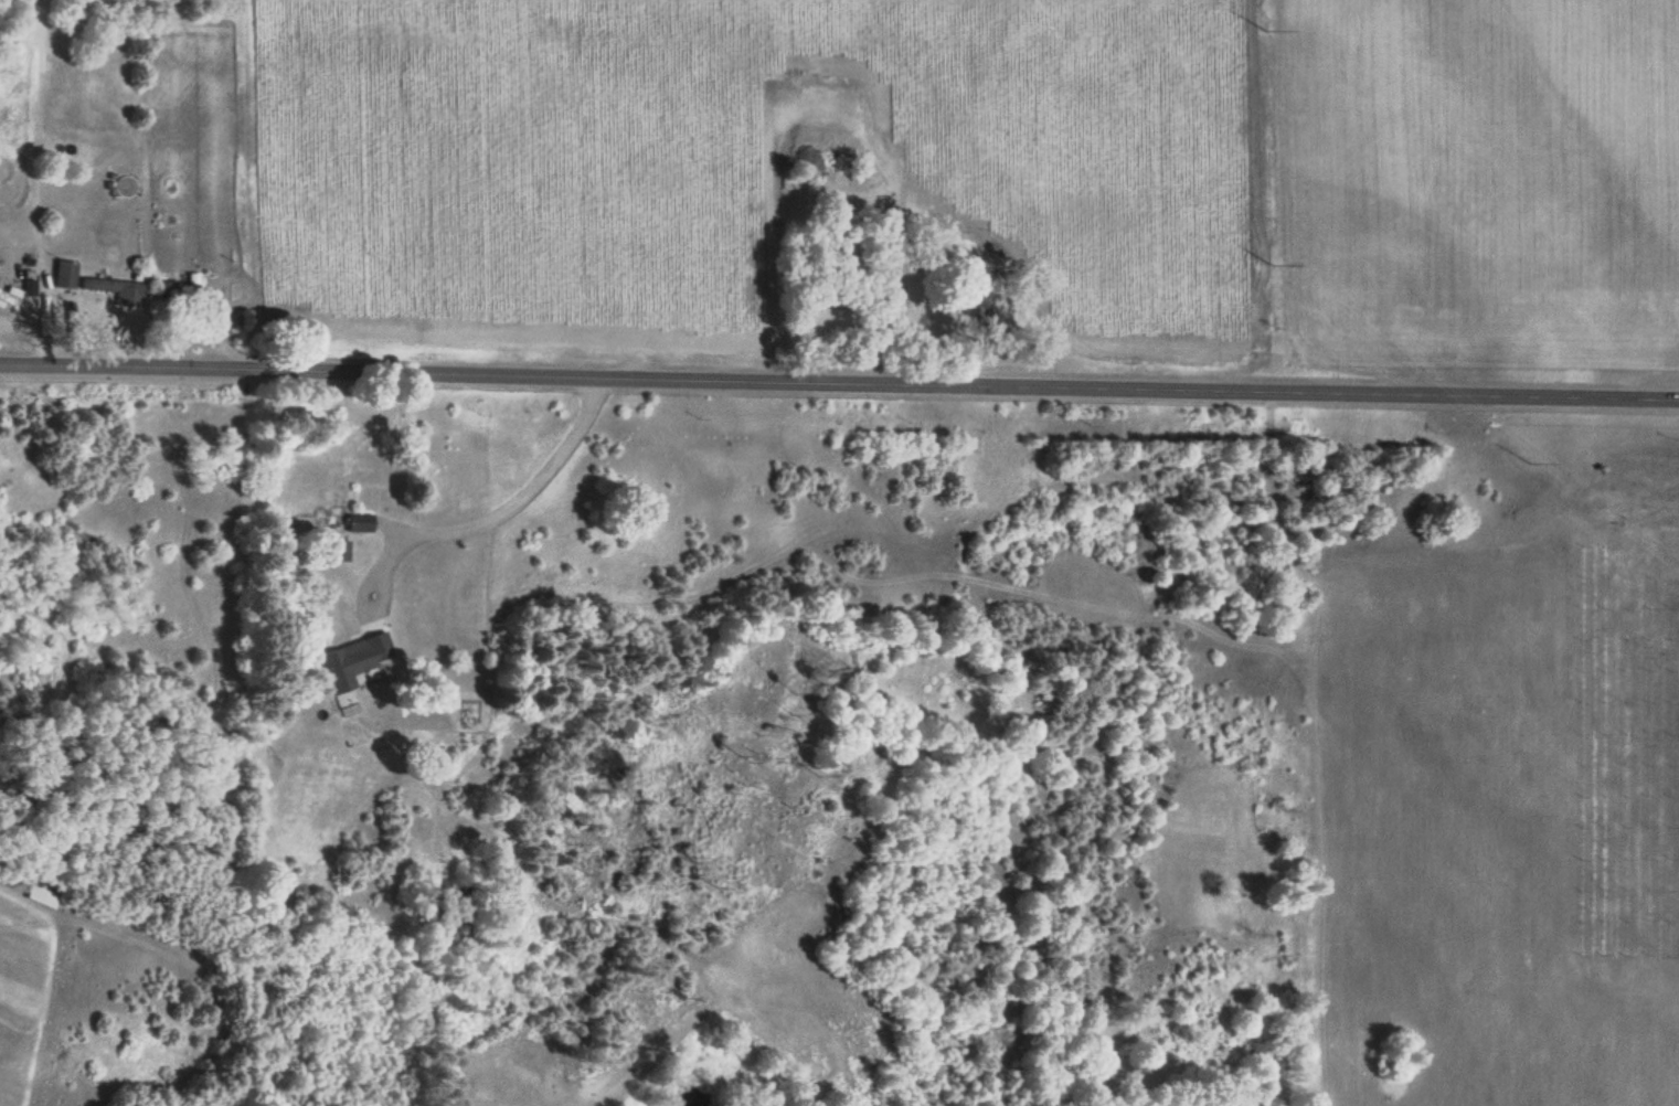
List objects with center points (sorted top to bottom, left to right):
building: (821, 161)
building: (125, 187)
building: (190, 285)
building: (109, 287)
building: (9, 296)
road: (839, 380)
building: (370, 472)
building: (360, 522)
building: (339, 550)
building: (435, 551)
building: (337, 669)

